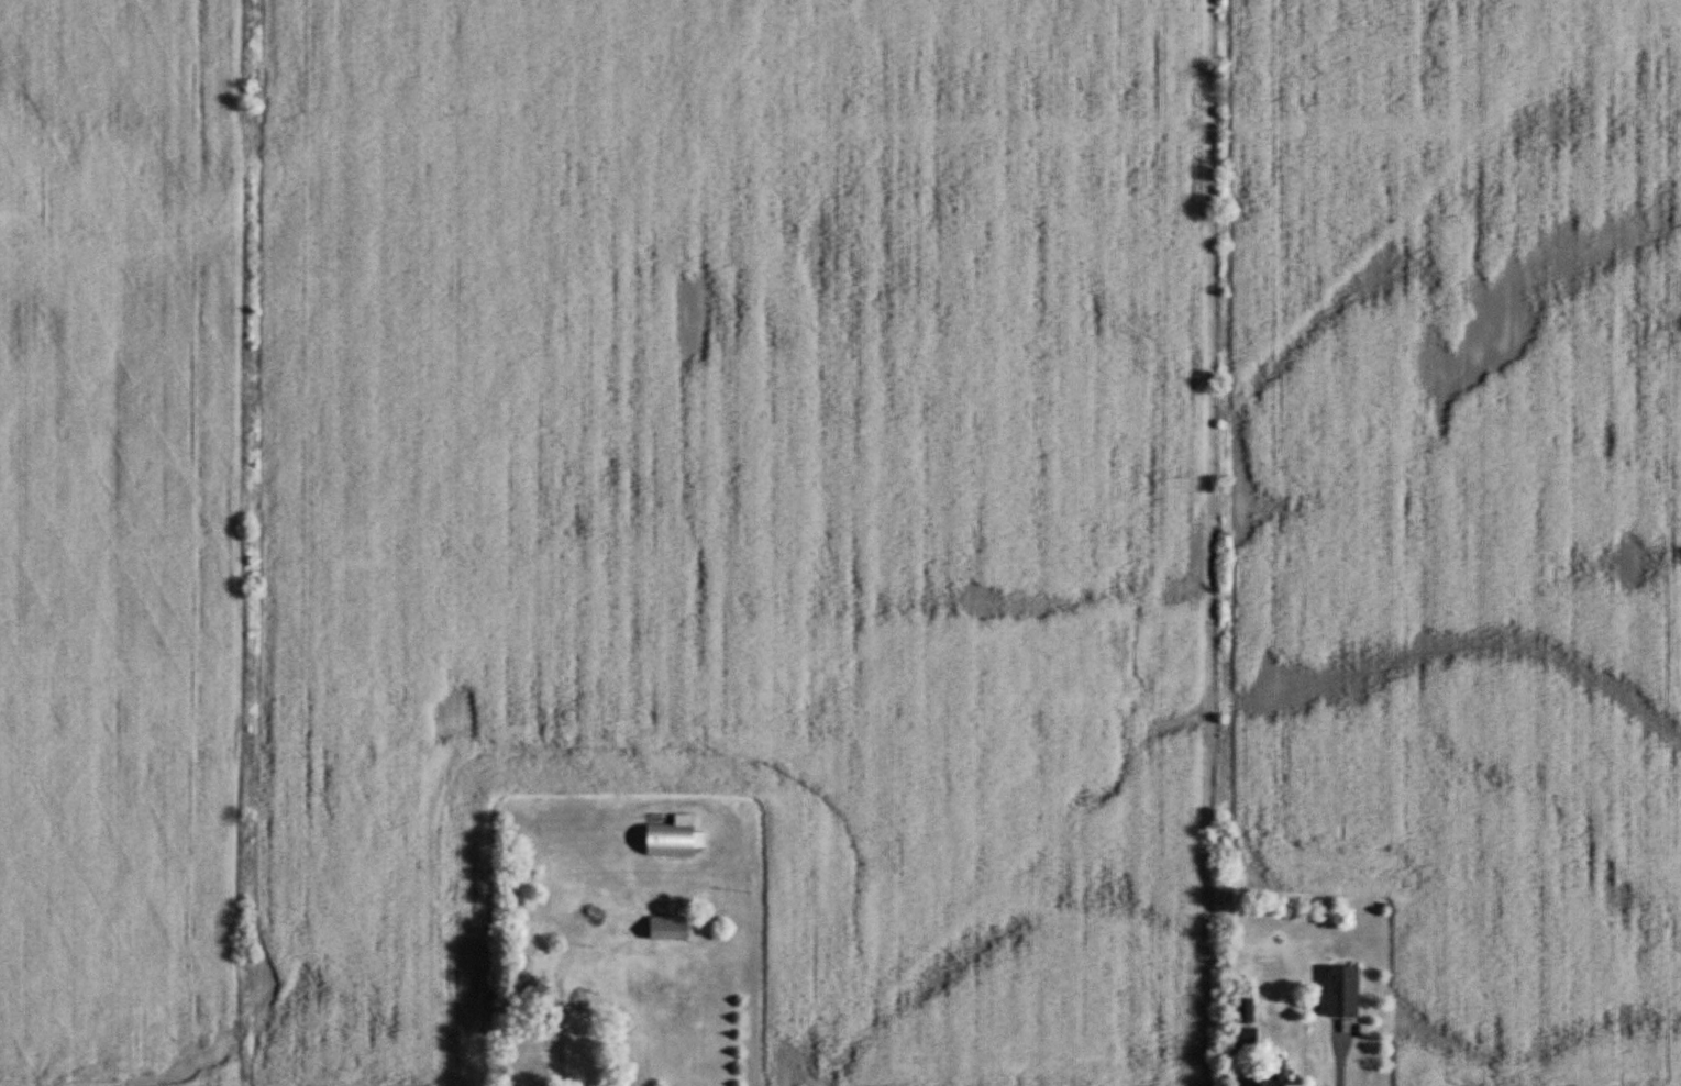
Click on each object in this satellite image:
building: (673, 839)
building: (668, 929)
building: (1341, 993)
building: (530, 1060)
building: (1273, 1077)

